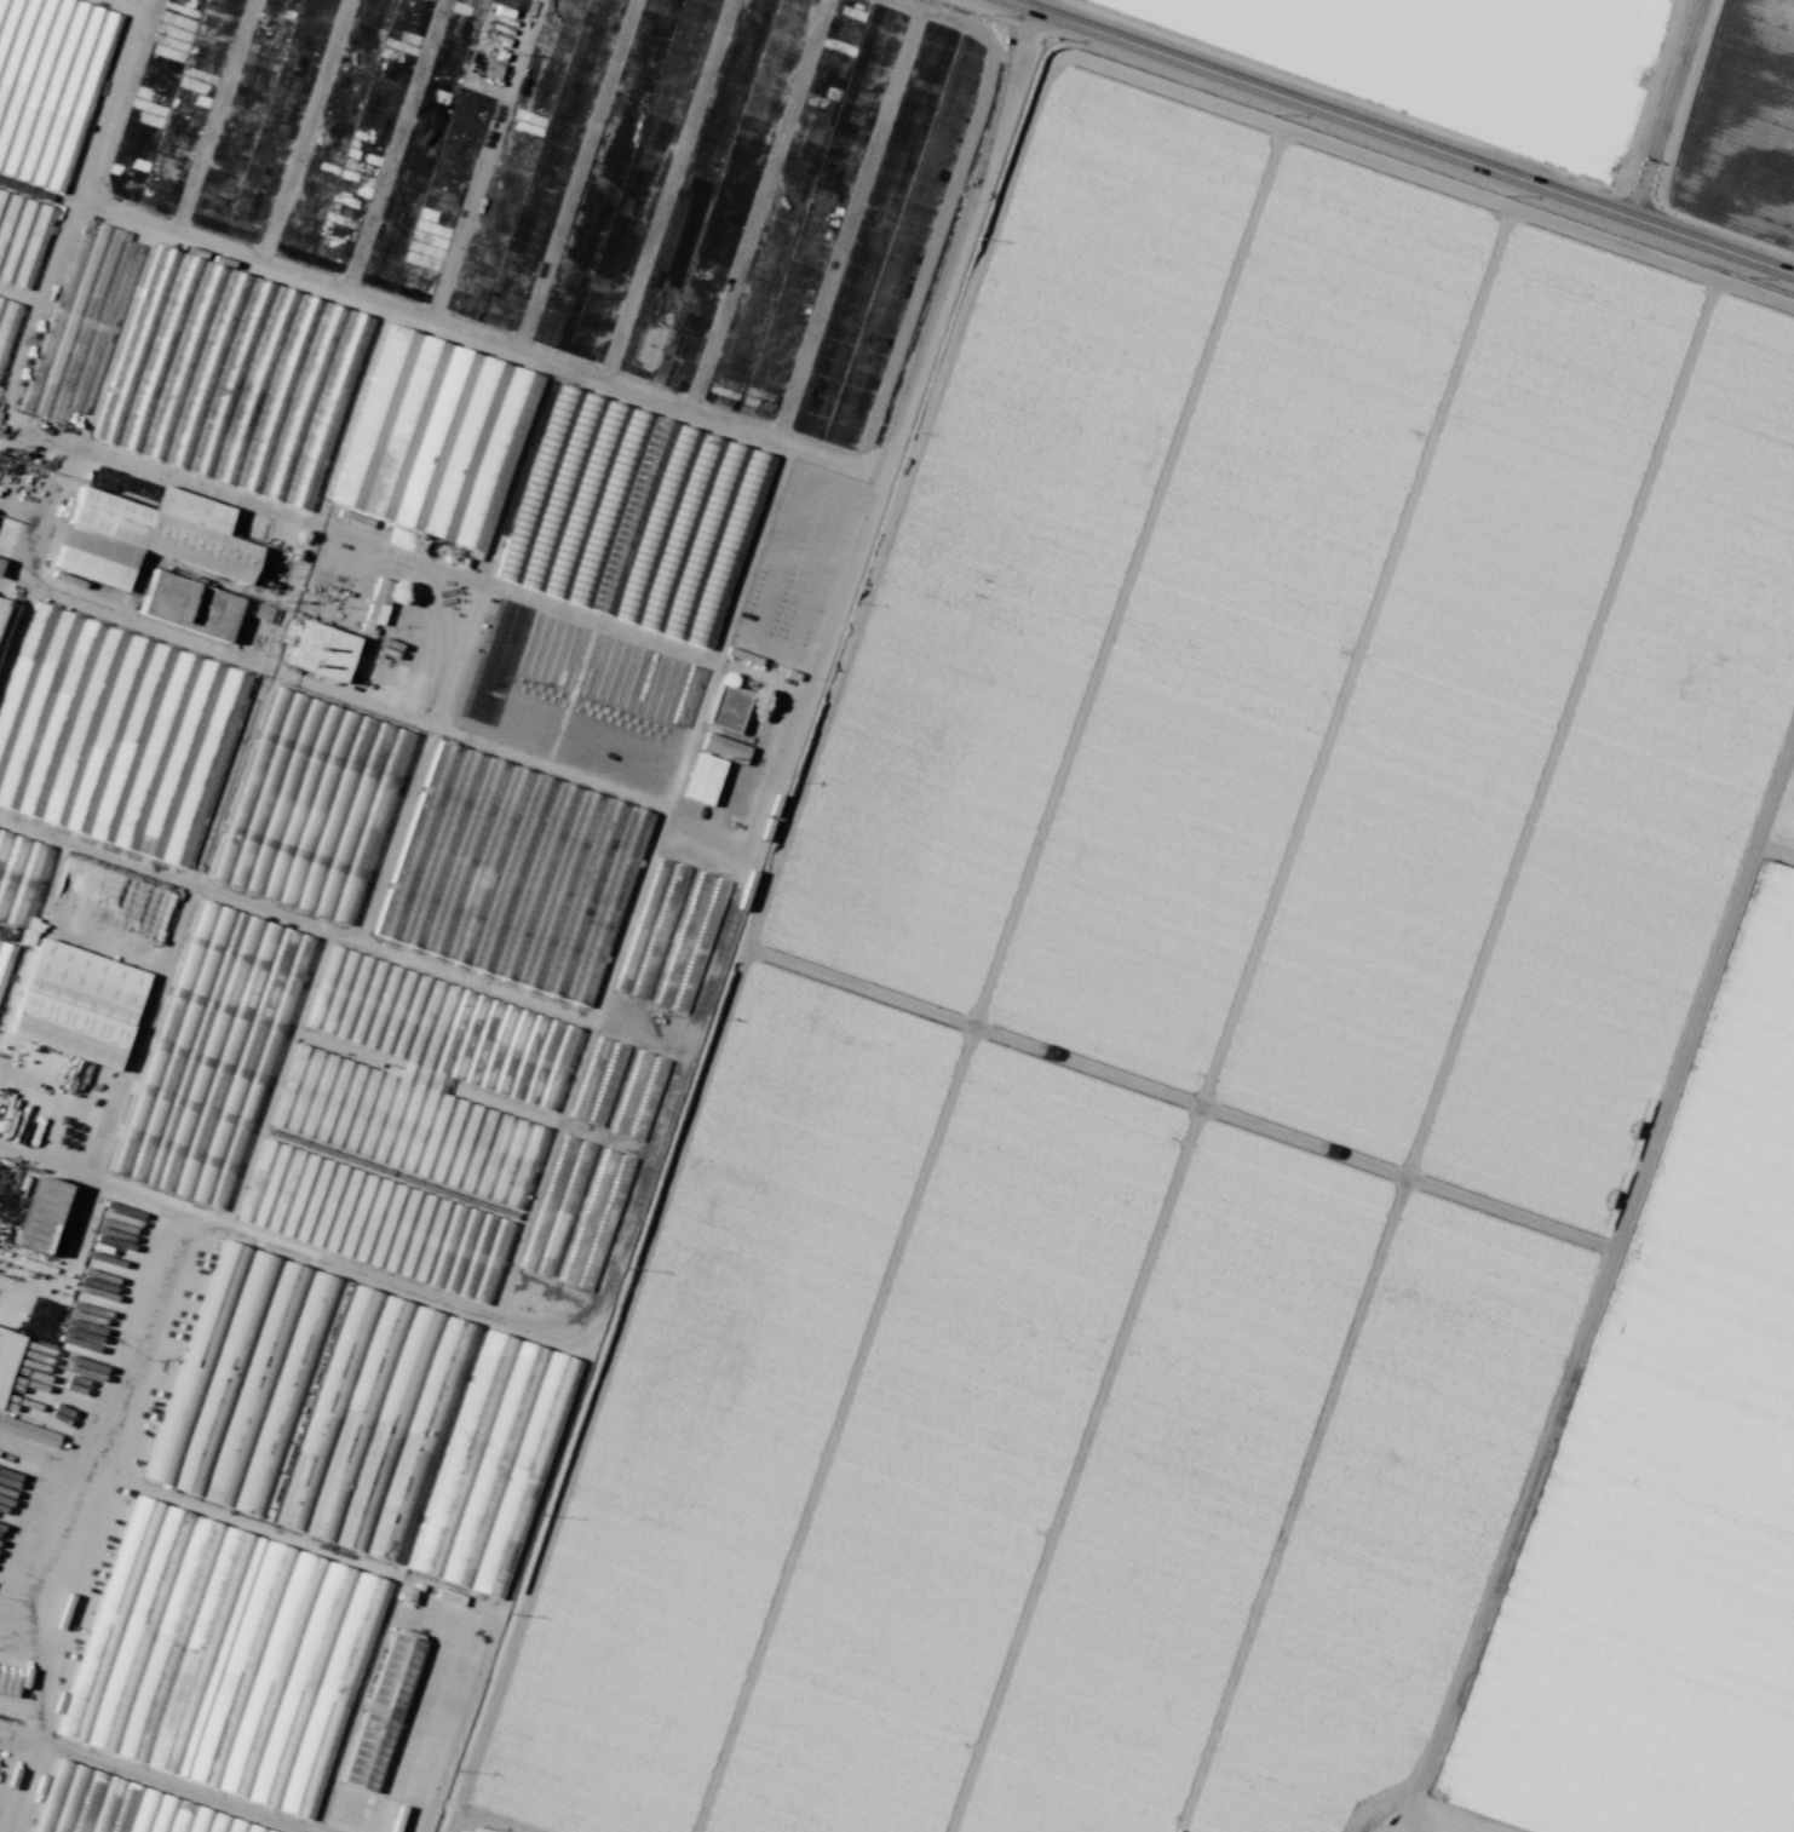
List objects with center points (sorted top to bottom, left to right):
building: (47, 85)
road: (1666, 110)
road: (1402, 137)
road: (1430, 178)
building: (21, 234)
building: (77, 322)
building: (6, 323)
building: (231, 378)
building: (436, 440)
building: (148, 536)
building: (527, 580)
building: (378, 601)
building: (189, 605)
building: (261, 611)
building: (321, 650)
building: (114, 734)
building: (717, 746)
building: (702, 779)
building: (310, 805)
building: (18, 874)
building: (527, 879)
road: (748, 936)
building: (5, 958)
road: (713, 963)
road: (977, 976)
crop: (1240, 998)
building: (77, 1004)
road: (1225, 1018)
building: (209, 1055)
road: (1442, 1055)
building: (424, 1076)
building: (597, 1081)
building: (633, 1082)
road: (1179, 1084)
building: (372, 1167)
building: (553, 1207)
building: (40, 1214)
building: (594, 1221)
building: (374, 1222)
road: (1597, 1270)
building: (7, 1357)
building: (28, 1432)
building: (493, 1465)
building: (286, 1518)
road: (103, 1523)
building: (222, 1658)
building: (383, 1716)
road: (145, 1781)
road: (1380, 1805)
building: (121, 1808)
road: (1460, 1814)
road: (38, 1819)
road: (484, 1820)

